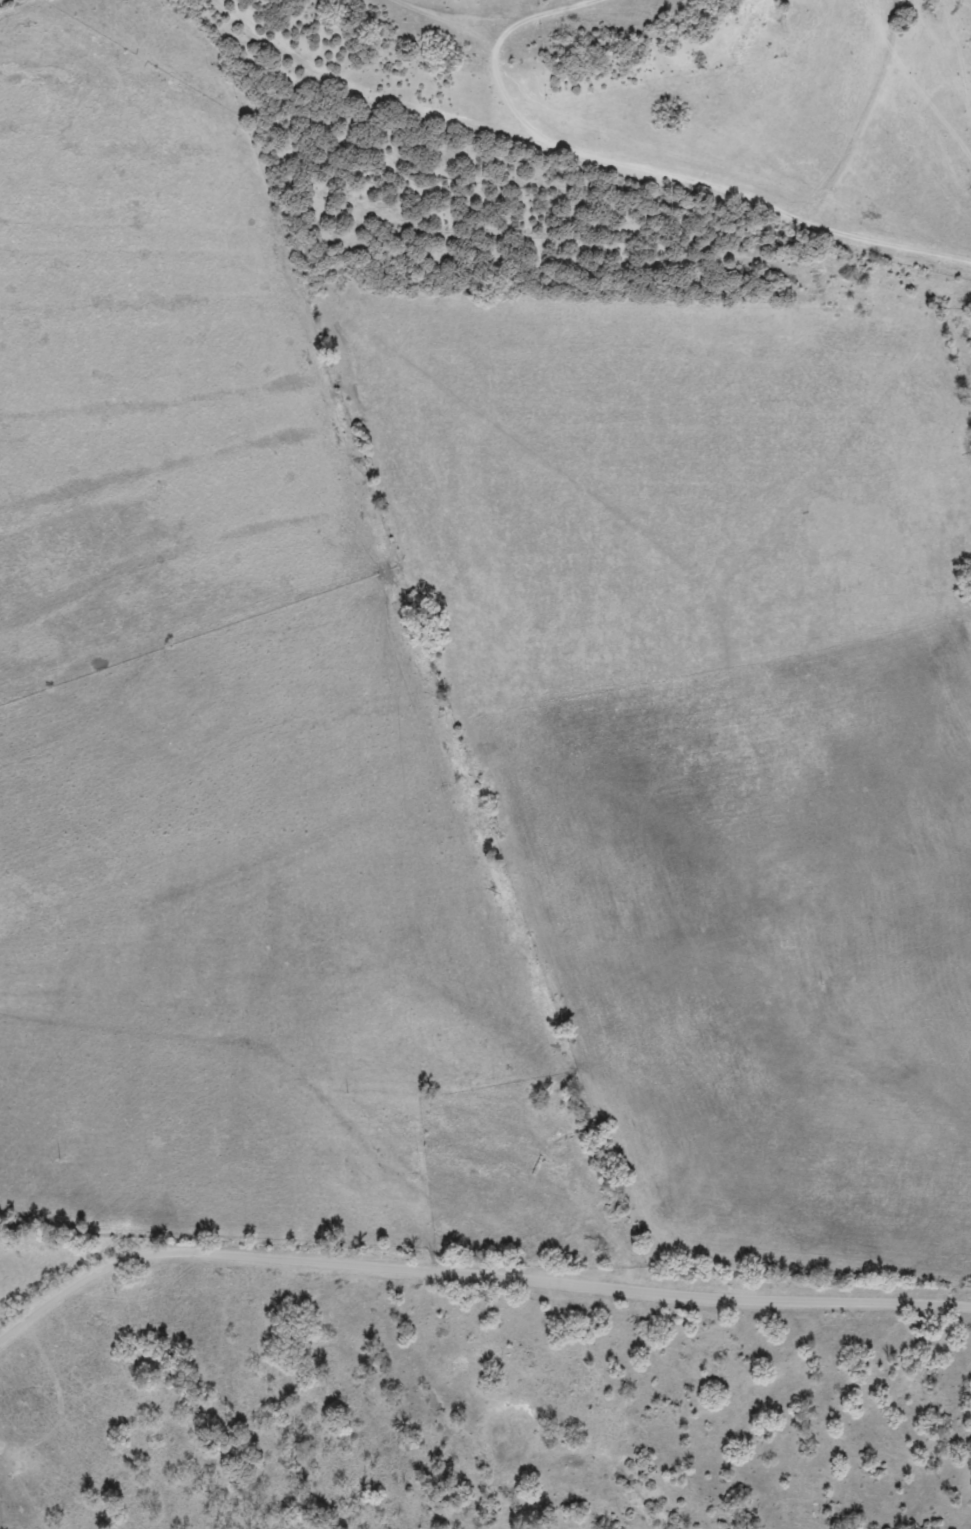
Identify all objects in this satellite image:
road: (957, 292)
road: (472, 1261)

